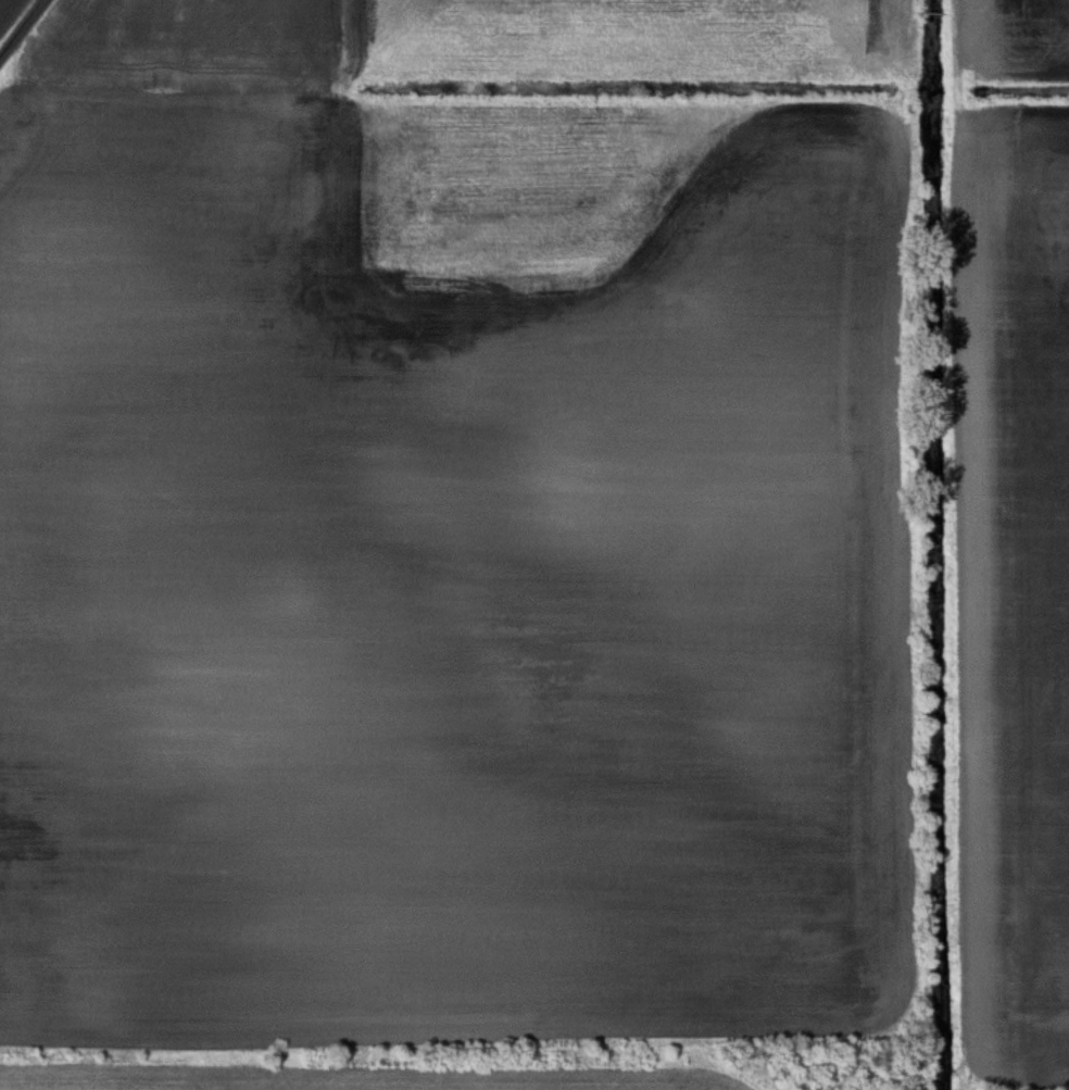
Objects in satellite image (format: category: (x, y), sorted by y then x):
road: (20, 26)

